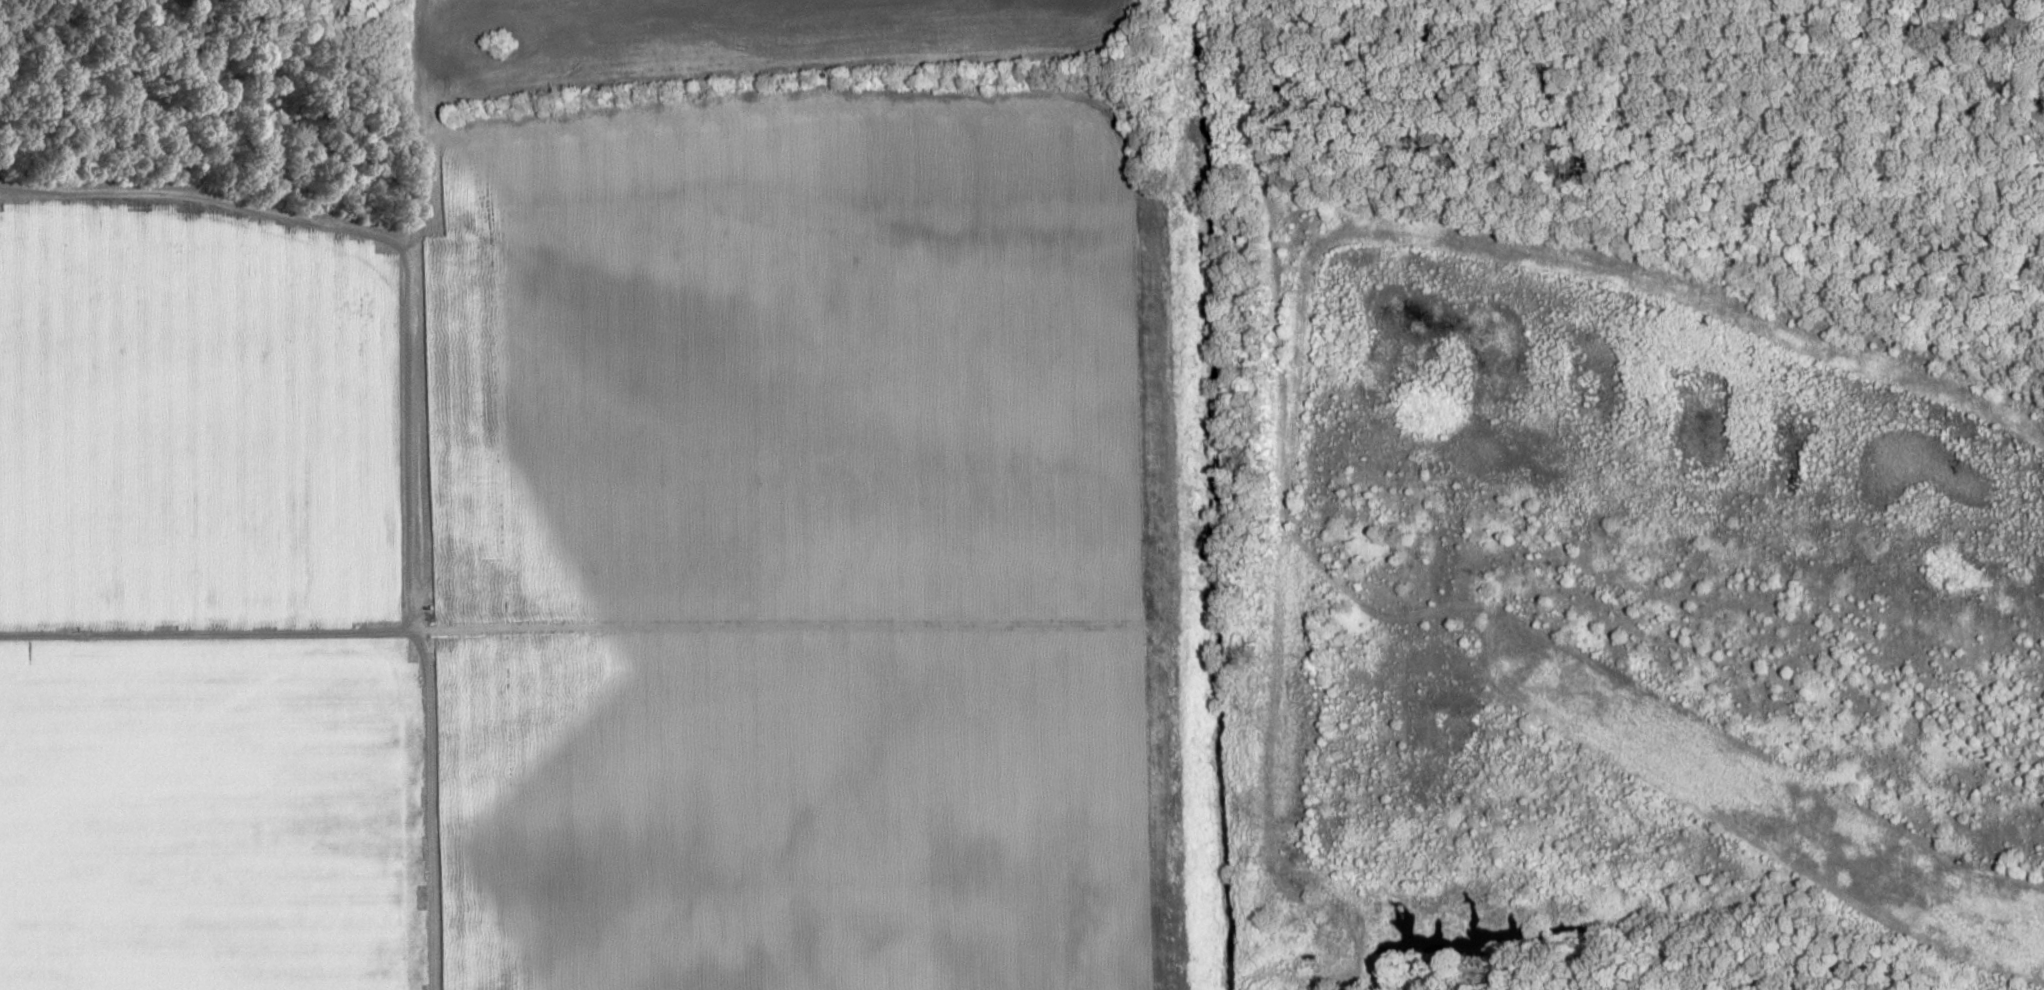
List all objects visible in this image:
road: (401, 419)

